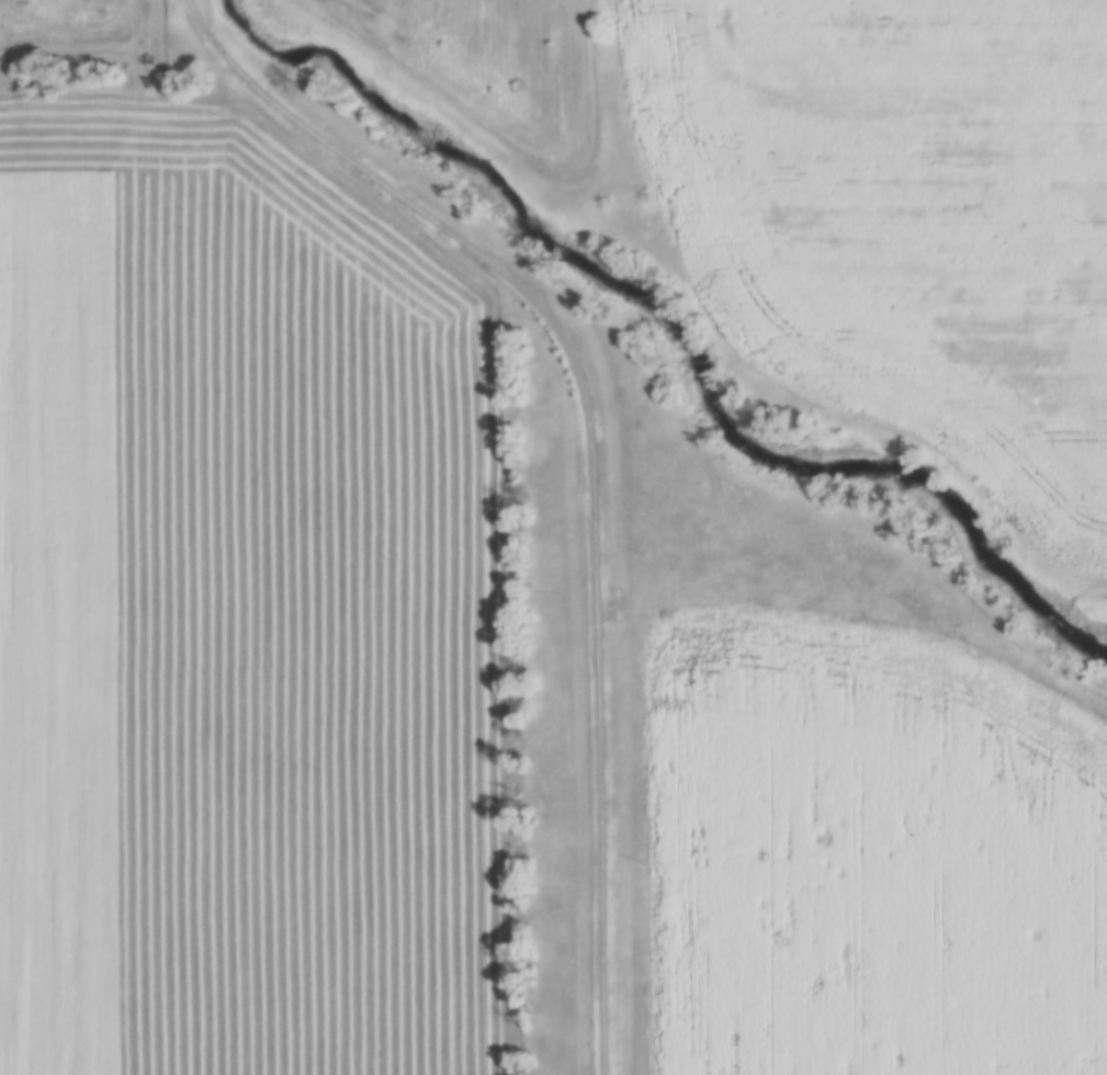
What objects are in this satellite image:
road: (588, 449)

